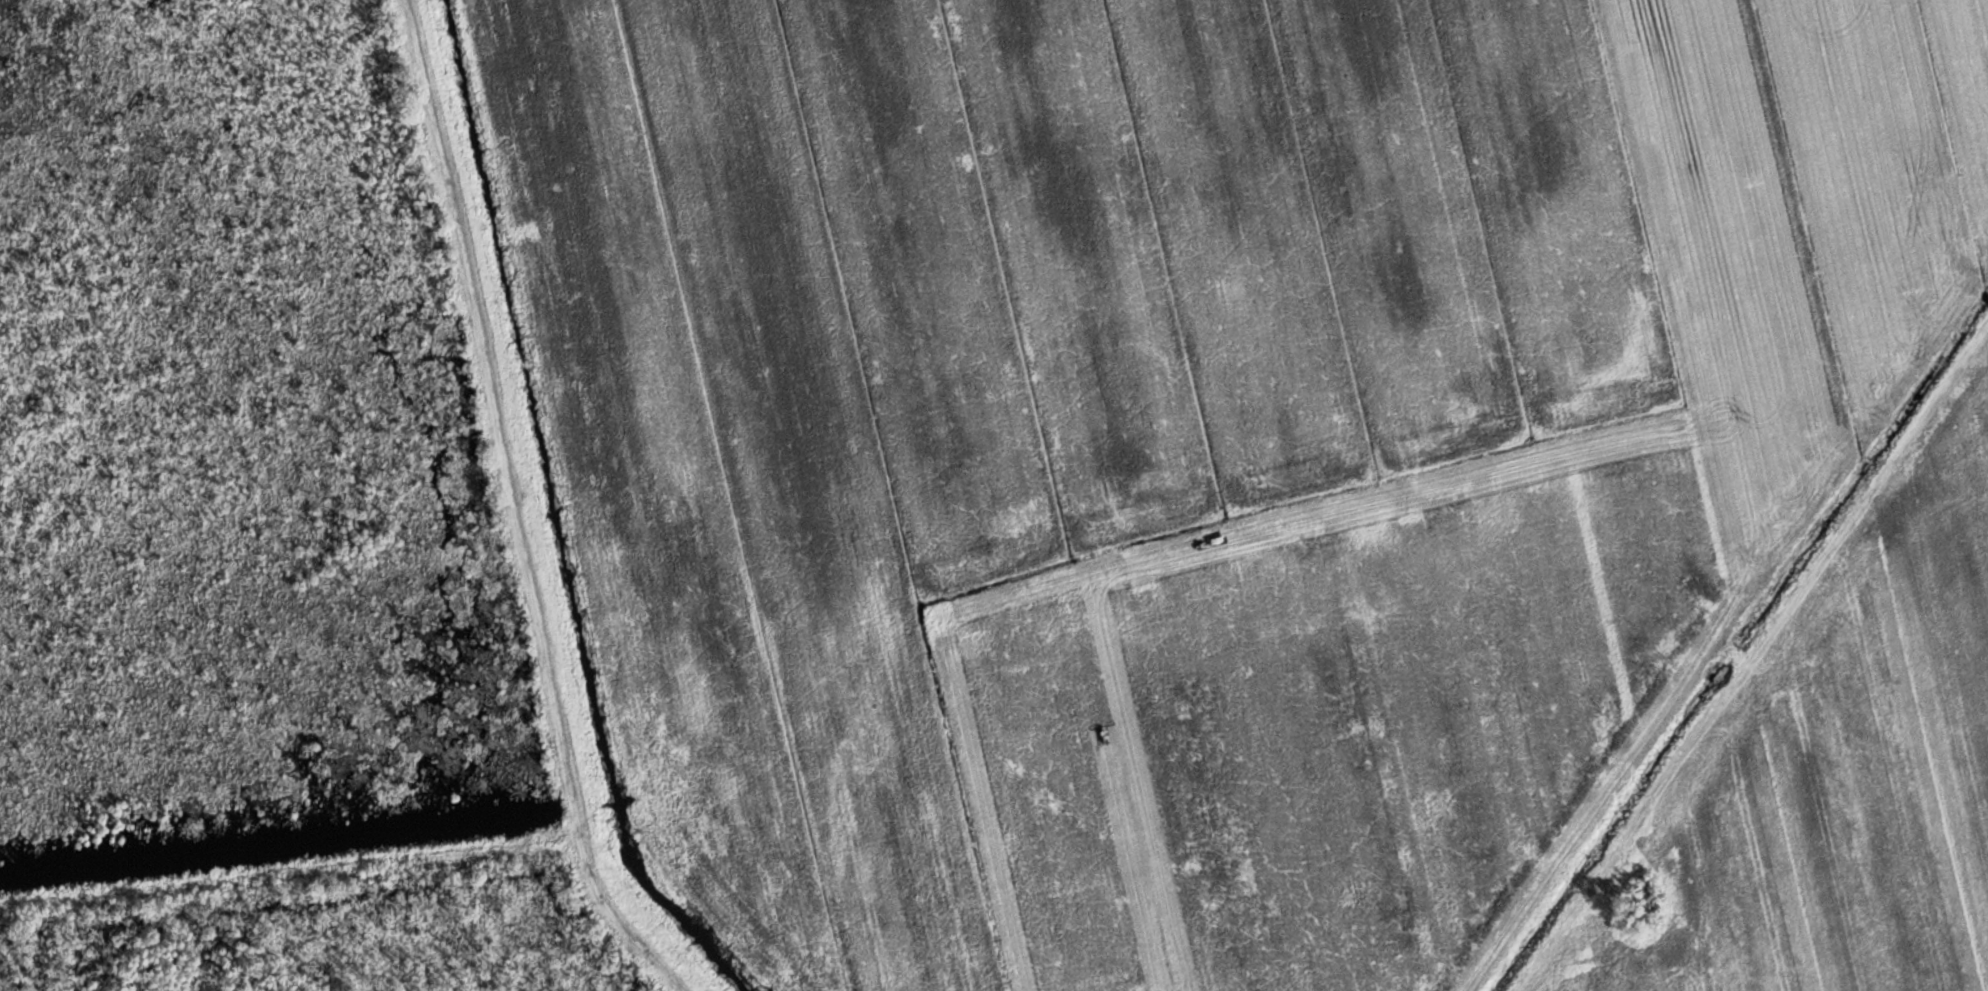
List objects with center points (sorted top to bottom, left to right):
road: (496, 418)
crop: (1833, 772)
road: (288, 872)
road: (615, 921)

